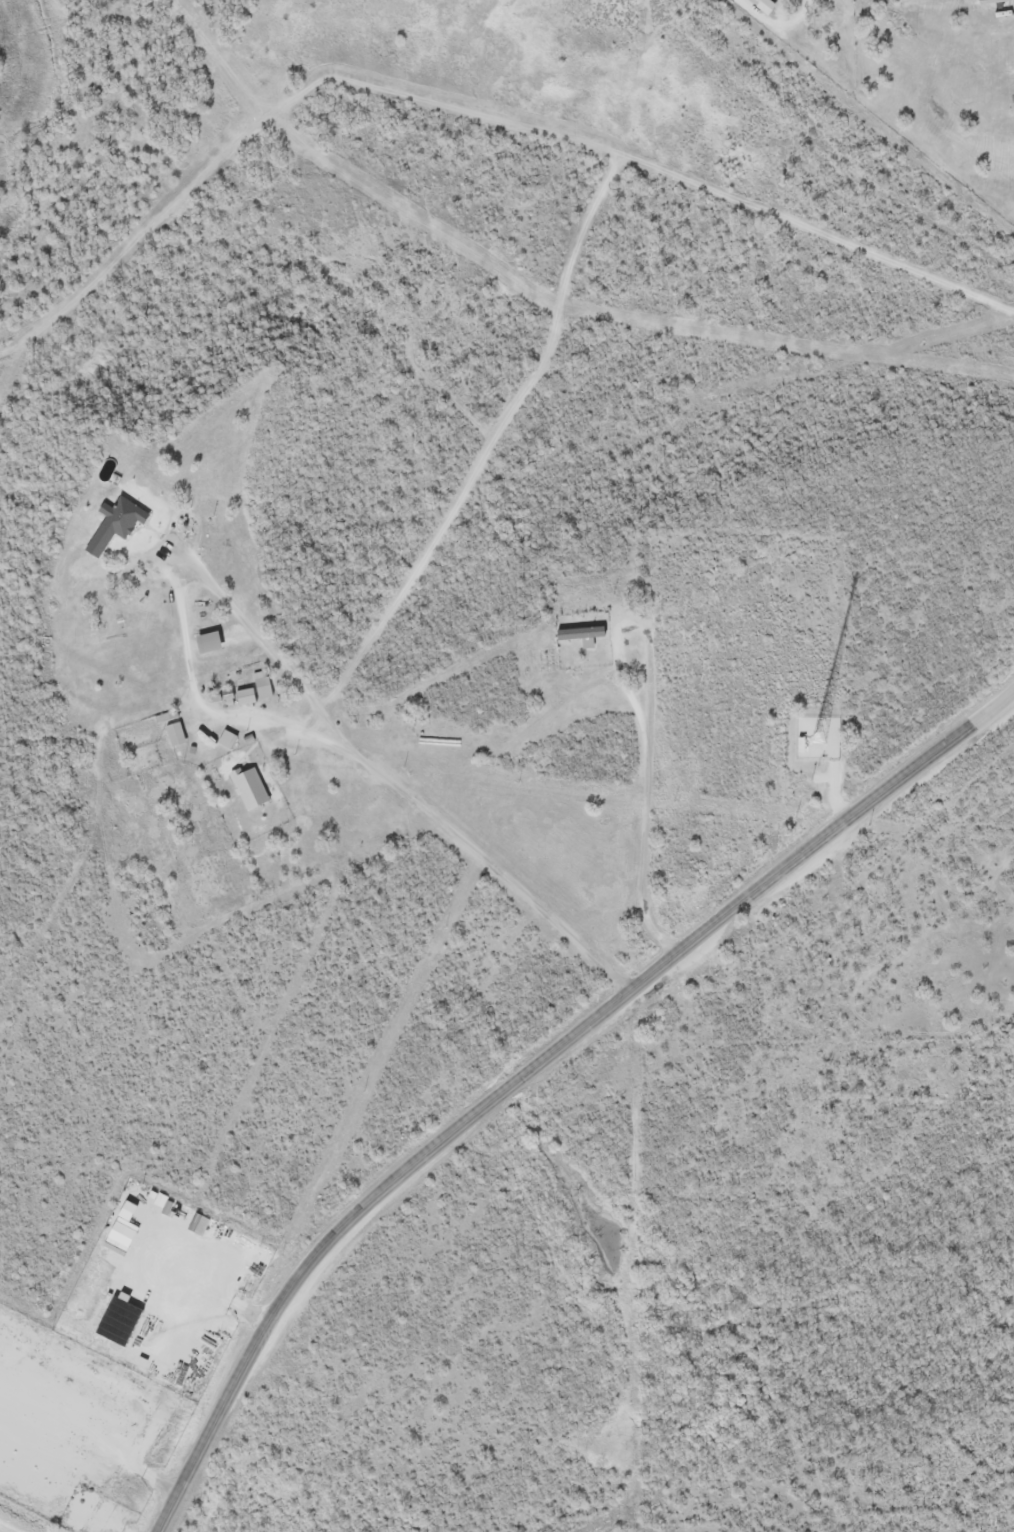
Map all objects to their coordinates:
building: (994, 1)
building: (763, 2)
road: (757, 12)
building: (116, 520)
building: (580, 633)
building: (208, 641)
building: (262, 684)
building: (245, 695)
building: (175, 732)
building: (228, 737)
road: (387, 782)
building: (250, 788)
road: (538, 1069)
building: (123, 1224)
building: (118, 1320)

